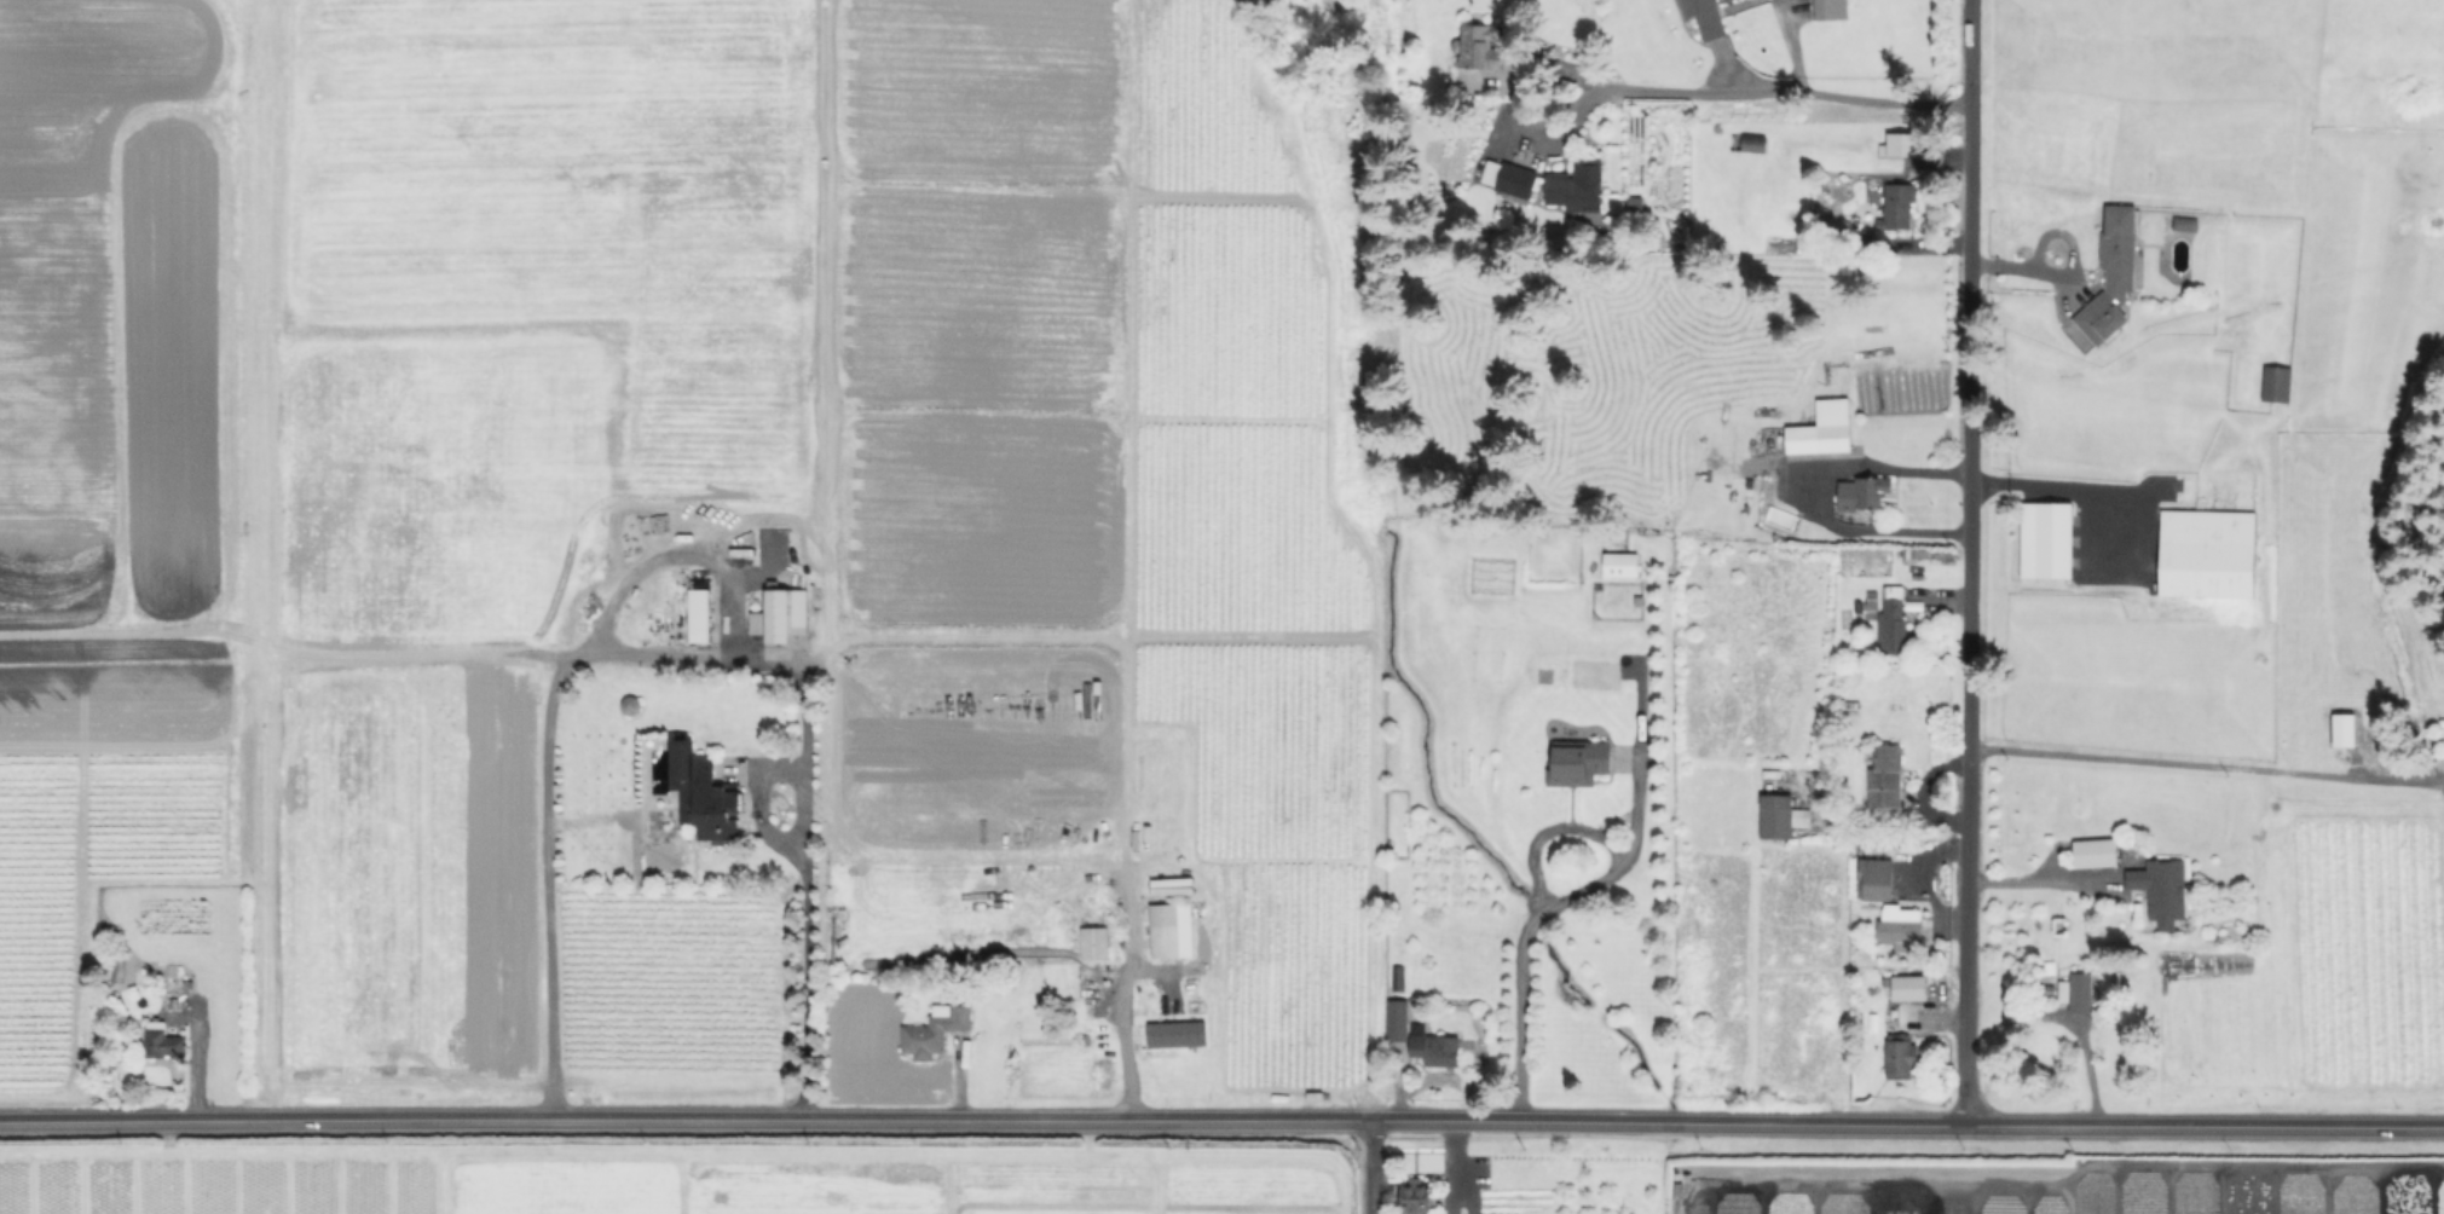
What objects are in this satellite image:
building: (1831, 10)
building: (1706, 18)
building: (1477, 48)
road: (1785, 79)
building: (1749, 143)
building: (1901, 144)
building: (1509, 178)
building: (1578, 187)
building: (1635, 204)
building: (1897, 206)
building: (2183, 224)
road: (2064, 268)
building: (2111, 277)
building: (2273, 382)
building: (1822, 430)
building: (1864, 492)
road: (2092, 492)
road: (1824, 497)
building: (2044, 539)
crop: (666, 549)
building: (2205, 553)
road: (1970, 561)
building: (1618, 563)
building: (701, 617)
building: (781, 617)
building: (1894, 620)
road: (559, 676)
building: (1851, 709)
building: (2344, 730)
building: (1579, 763)
road: (2194, 771)
building: (1885, 780)
building: (705, 792)
building: (1778, 815)
road: (1126, 823)
building: (2095, 854)
building: (1874, 879)
road: (2039, 880)
building: (2162, 888)
road: (1535, 915)
building: (1900, 926)
building: (1172, 931)
building: (1096, 943)
road: (808, 965)
building: (119, 975)
building: (1909, 989)
building: (2079, 993)
building: (1397, 1022)
building: (935, 1031)
building: (1174, 1033)
building: (162, 1040)
building: (1437, 1048)
building: (1900, 1056)
road: (1221, 1117)
road: (1371, 1166)
building: (1416, 1195)

